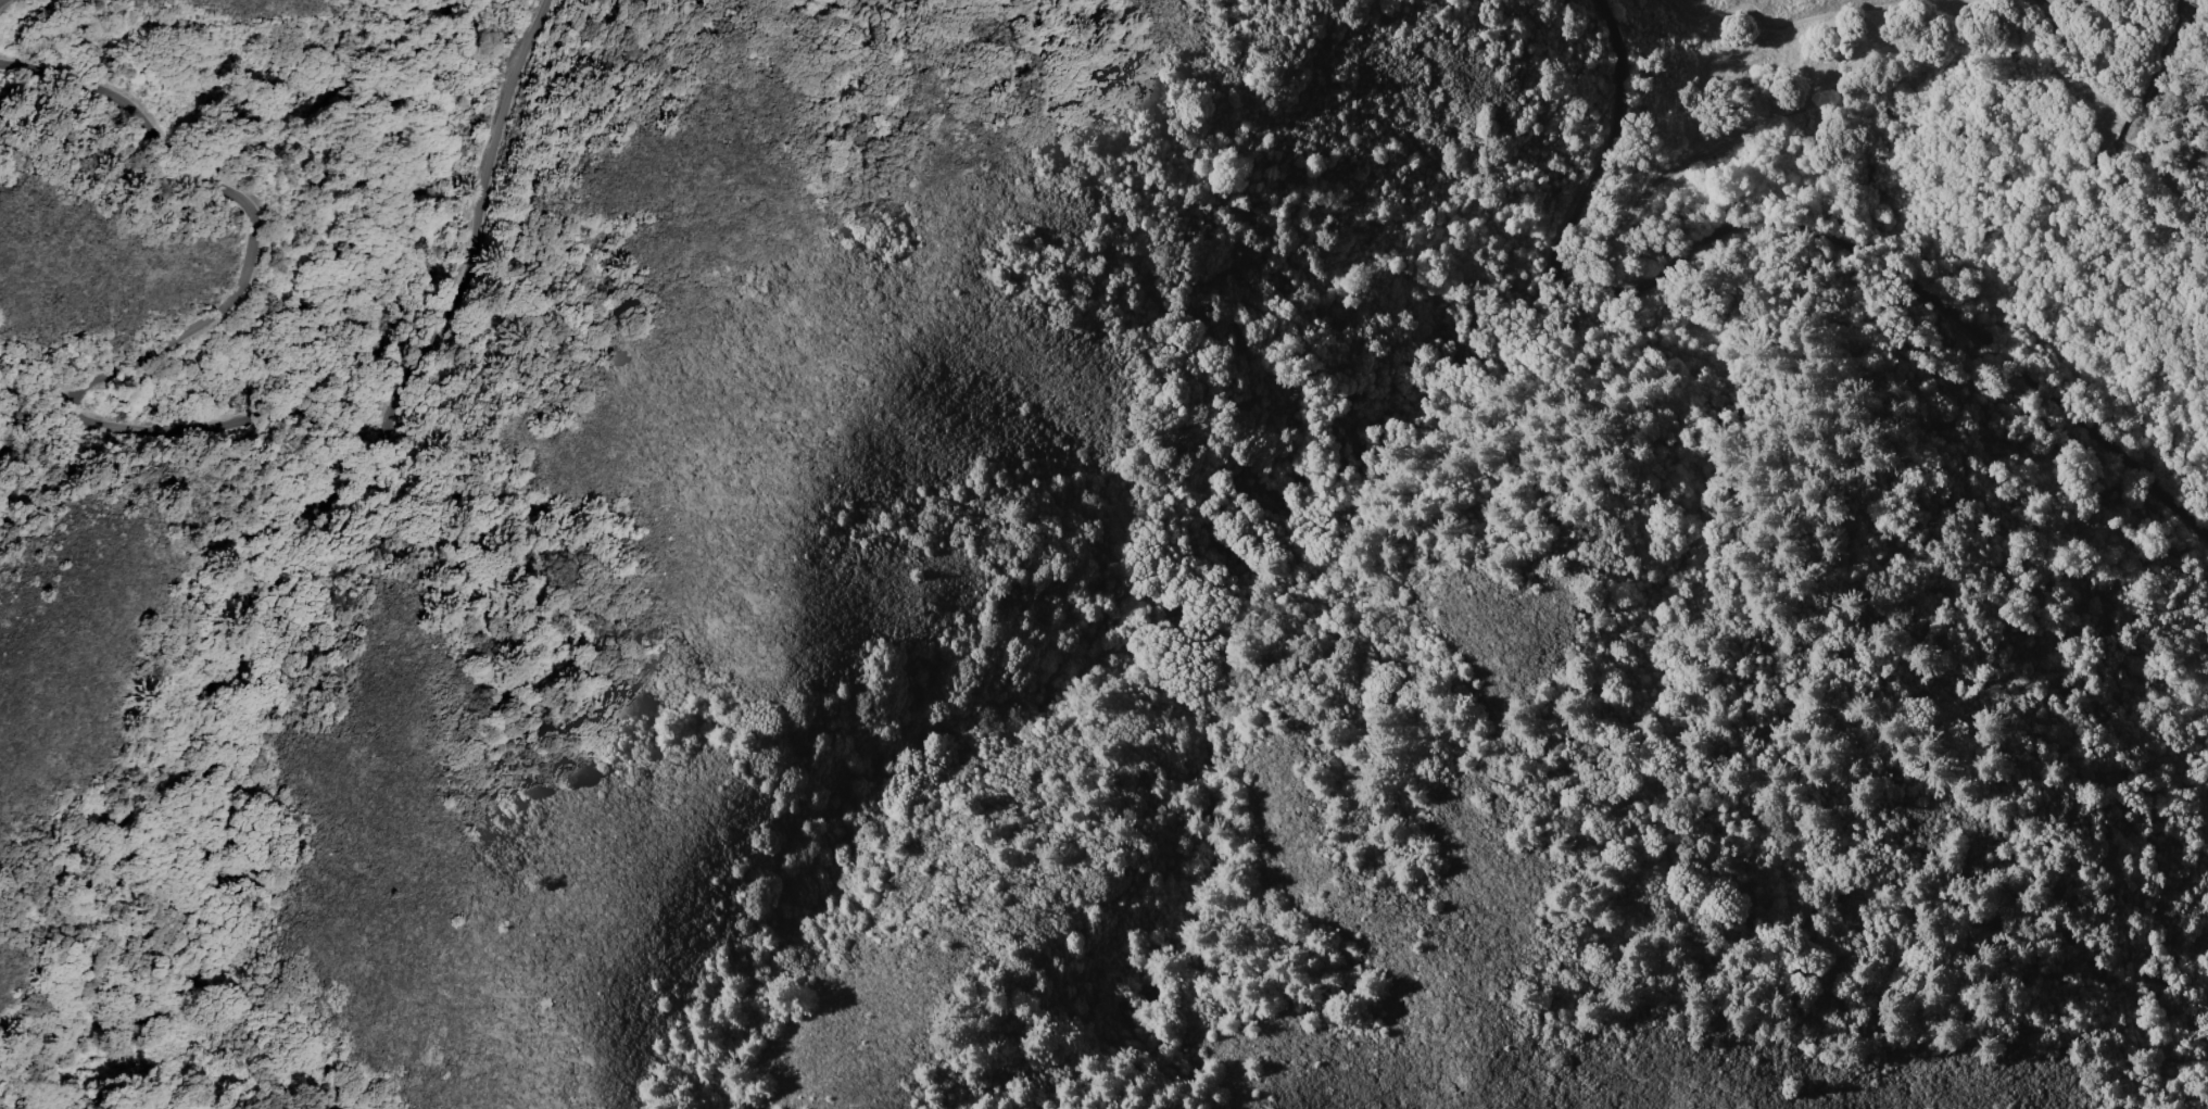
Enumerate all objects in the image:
road: (0, 0)
road: (1789, 230)
road: (179, 423)

